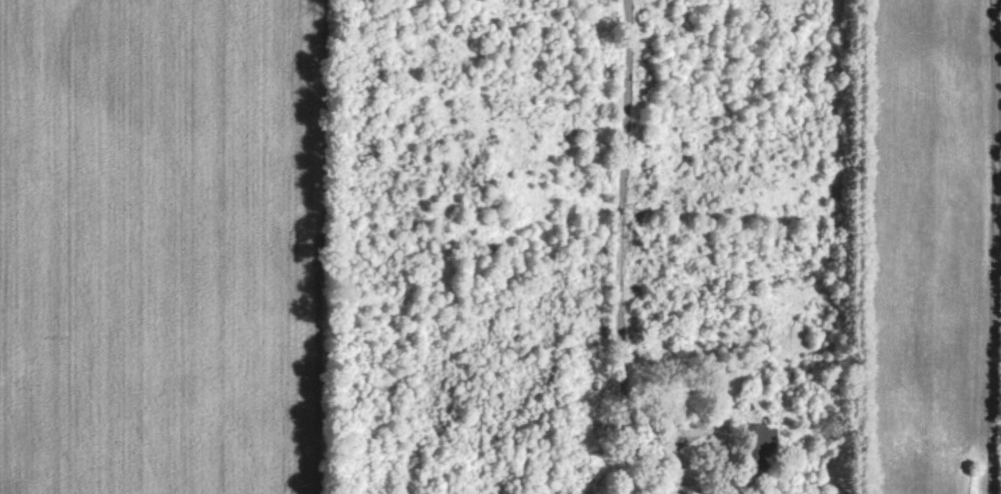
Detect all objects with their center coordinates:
road: (597, 220)
road: (993, 246)
building: (685, 433)
building: (760, 444)

